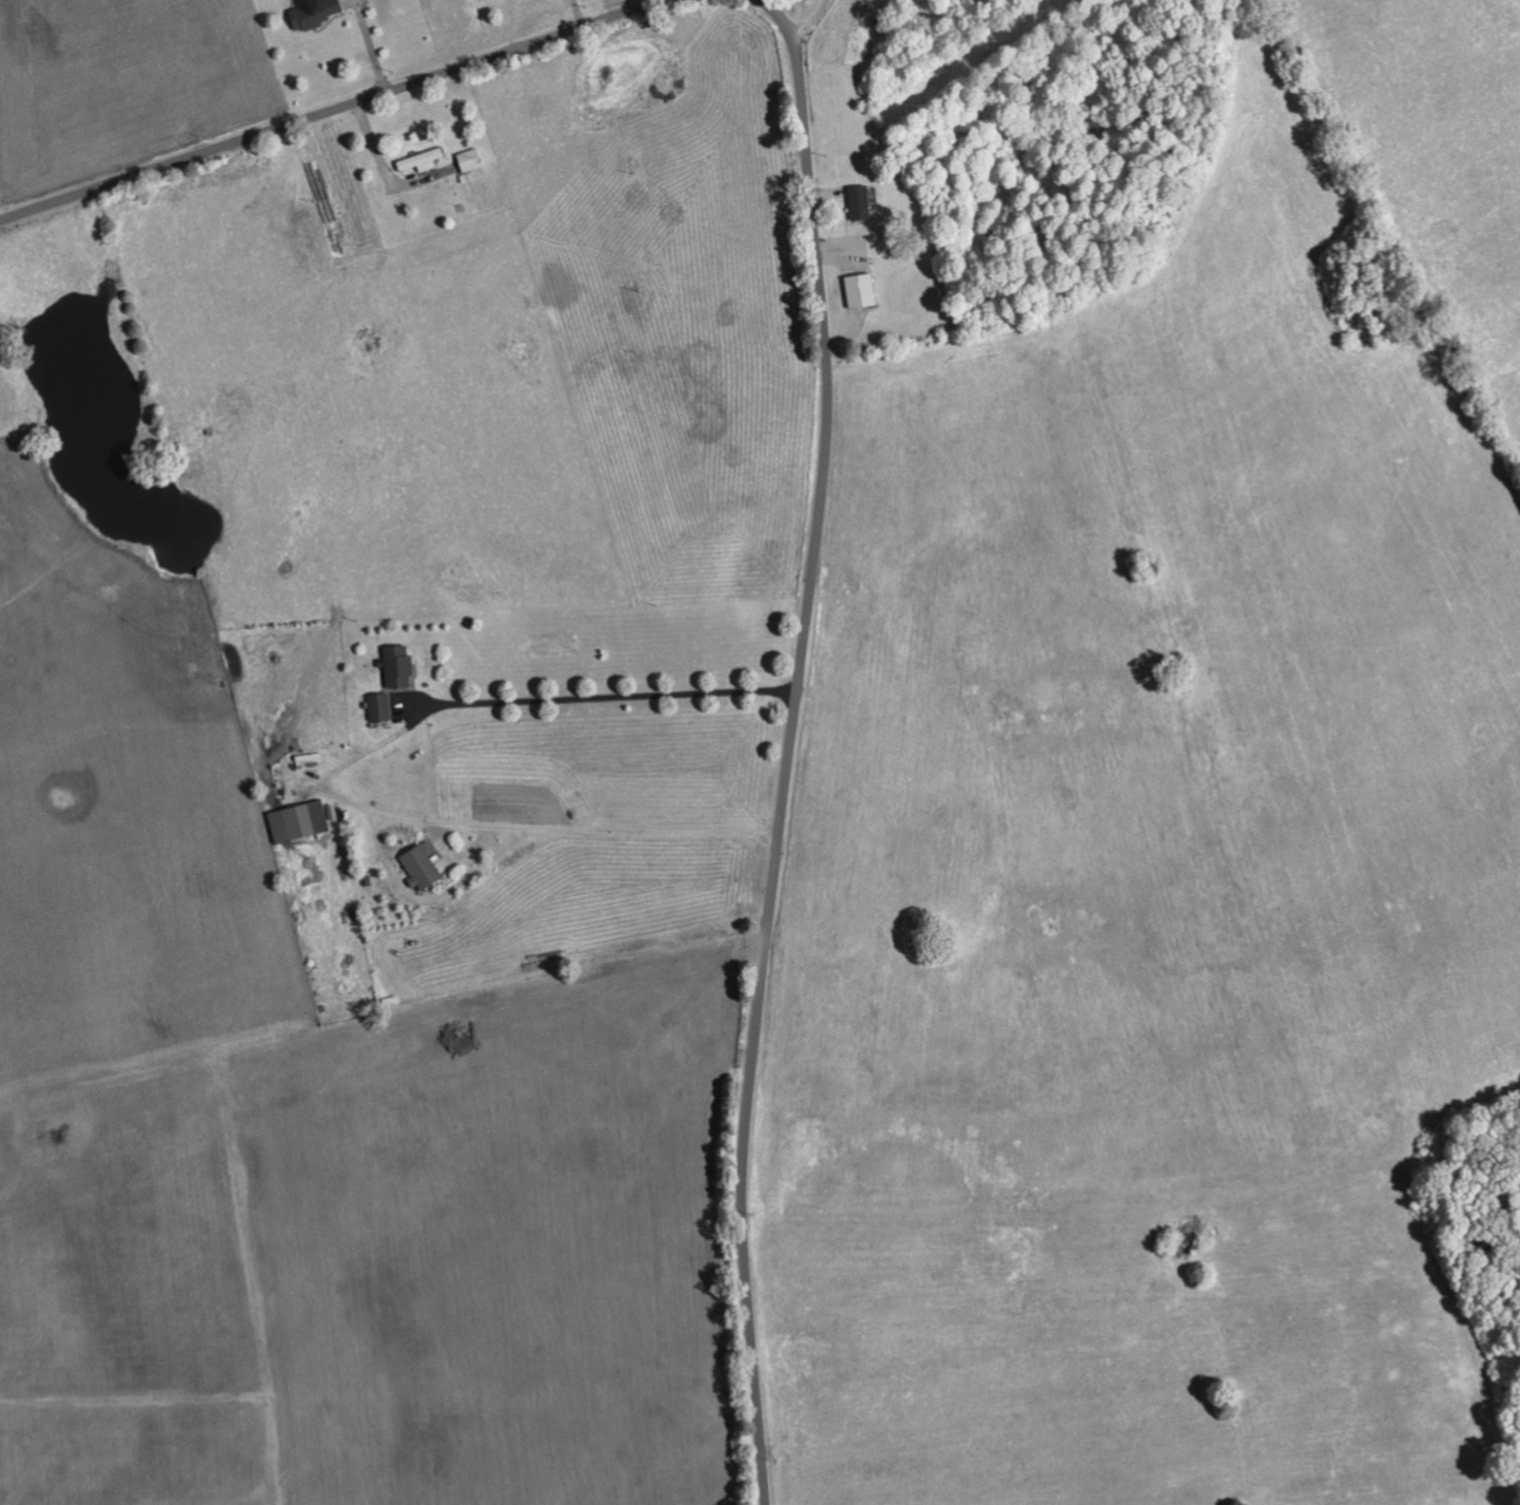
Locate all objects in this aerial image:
building: (315, 12)
road: (809, 22)
road: (917, 43)
road: (371, 48)
road: (342, 112)
building: (422, 160)
building: (470, 160)
building: (859, 202)
building: (861, 290)
building: (398, 667)
building: (379, 707)
road: (792, 743)
road: (336, 772)
building: (299, 822)
building: (421, 869)

